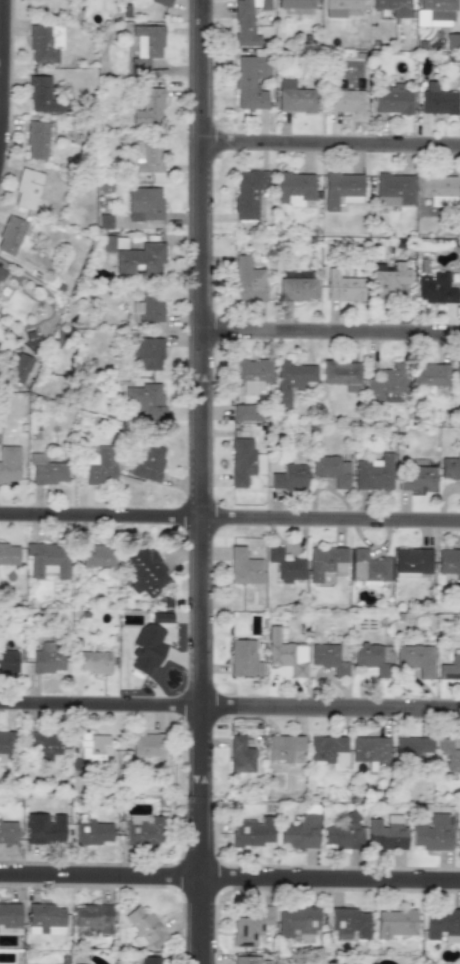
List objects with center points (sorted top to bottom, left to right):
building: (49, 0)
building: (161, 2)
building: (294, 3)
building: (339, 7)
building: (393, 7)
building: (439, 8)
building: (298, 11)
building: (246, 21)
building: (452, 40)
building: (45, 42)
building: (145, 46)
road: (2, 64)
building: (250, 81)
building: (43, 96)
building: (294, 97)
building: (345, 100)
building: (392, 100)
building: (437, 100)
building: (148, 107)
building: (36, 140)
road: (330, 148)
building: (294, 187)
building: (27, 188)
building: (341, 189)
building: (393, 189)
building: (438, 189)
building: (248, 193)
building: (144, 204)
building: (104, 221)
building: (11, 234)
building: (110, 243)
building: (140, 259)
building: (1, 273)
building: (247, 280)
building: (388, 280)
building: (343, 286)
building: (298, 288)
building: (435, 288)
building: (149, 306)
road: (330, 339)
building: (147, 353)
building: (18, 367)
building: (251, 374)
building: (341, 374)
building: (429, 374)
building: (457, 374)
building: (291, 379)
building: (386, 384)
building: (146, 401)
building: (247, 412)
building: (0, 429)
building: (148, 461)
building: (244, 461)
building: (9, 463)
building: (100, 466)
building: (450, 466)
building: (330, 469)
building: (47, 470)
building: (373, 473)
building: (287, 476)
building: (417, 479)
road: (200, 482)
road: (229, 530)
building: (8, 554)
building: (96, 555)
building: (46, 560)
building: (325, 561)
building: (449, 561)
building: (411, 562)
building: (285, 564)
building: (243, 567)
building: (368, 568)
building: (144, 571)
building: (286, 584)
building: (146, 648)
building: (285, 653)
building: (373, 657)
building: (243, 658)
building: (328, 658)
building: (47, 659)
building: (416, 659)
building: (8, 661)
building: (94, 662)
building: (450, 667)
road: (230, 706)
building: (7, 742)
building: (44, 744)
building: (148, 745)
building: (92, 747)
building: (283, 747)
building: (410, 747)
building: (369, 749)
building: (328, 750)
building: (240, 754)
building: (449, 754)
building: (44, 828)
building: (7, 830)
building: (143, 830)
building: (252, 831)
building: (92, 832)
building: (300, 832)
building: (432, 832)
building: (386, 833)
building: (342, 836)
building: (457, 836)
road: (99, 886)
road: (329, 891)
building: (93, 917)
building: (9, 918)
building: (44, 919)
building: (296, 922)
building: (394, 923)
building: (349, 924)
building: (442, 924)
building: (250, 926)
building: (143, 928)
building: (149, 960)
building: (249, 960)
building: (345, 963)
building: (374, 963)

